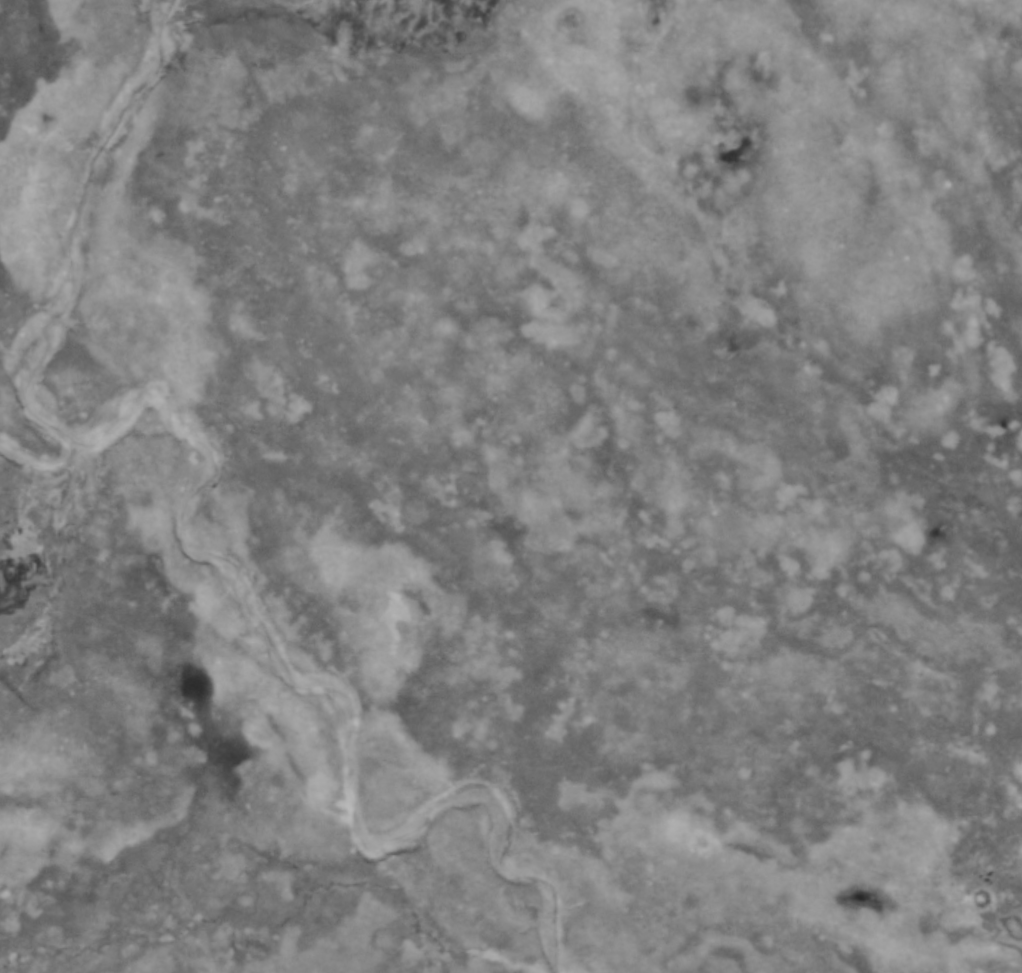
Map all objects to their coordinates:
storage tank: (979, 896)

